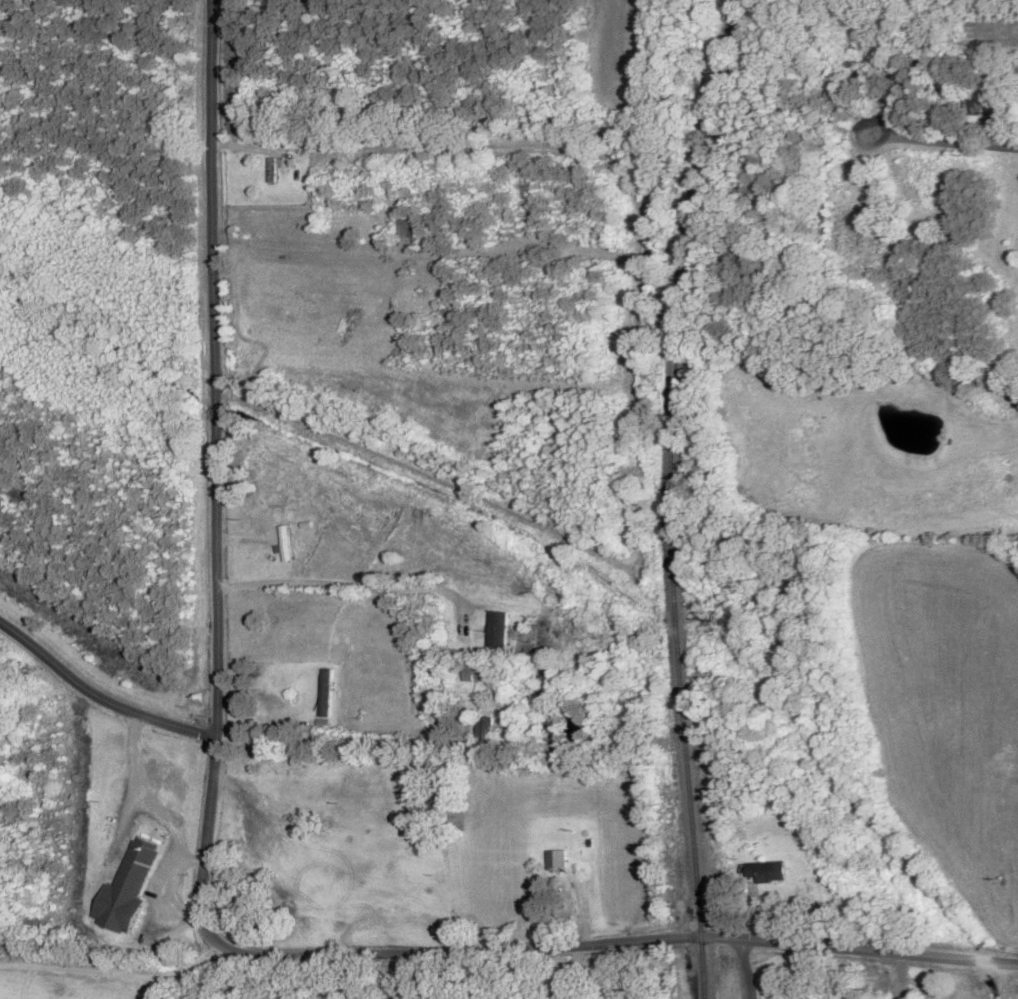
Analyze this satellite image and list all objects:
road: (901, 188)
building: (406, 228)
road: (243, 474)
railway: (672, 496)
road: (121, 658)
building: (478, 673)
building: (326, 693)
building: (483, 730)
building: (556, 861)
building: (771, 872)
building: (127, 889)
road: (472, 944)
road: (860, 955)
road: (746, 967)

